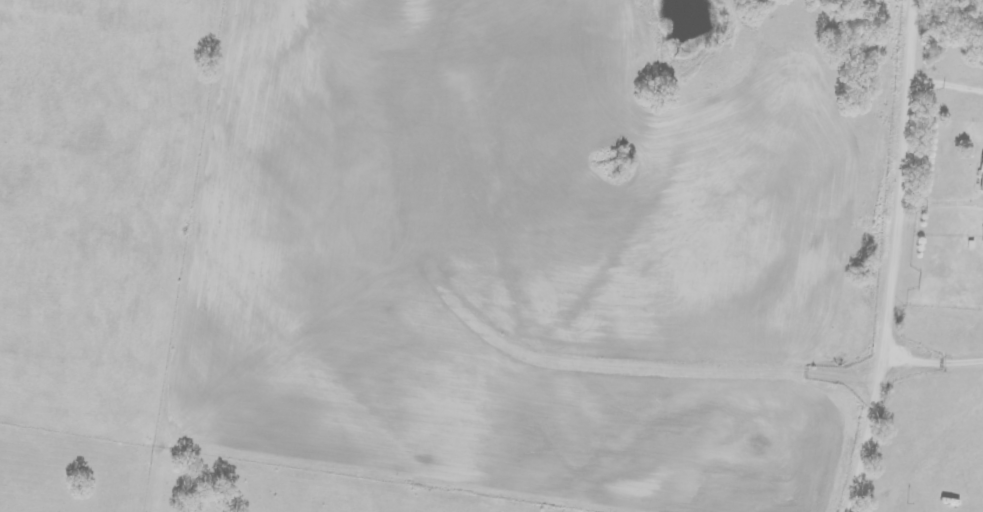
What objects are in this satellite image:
building: (981, 181)
road: (903, 258)

